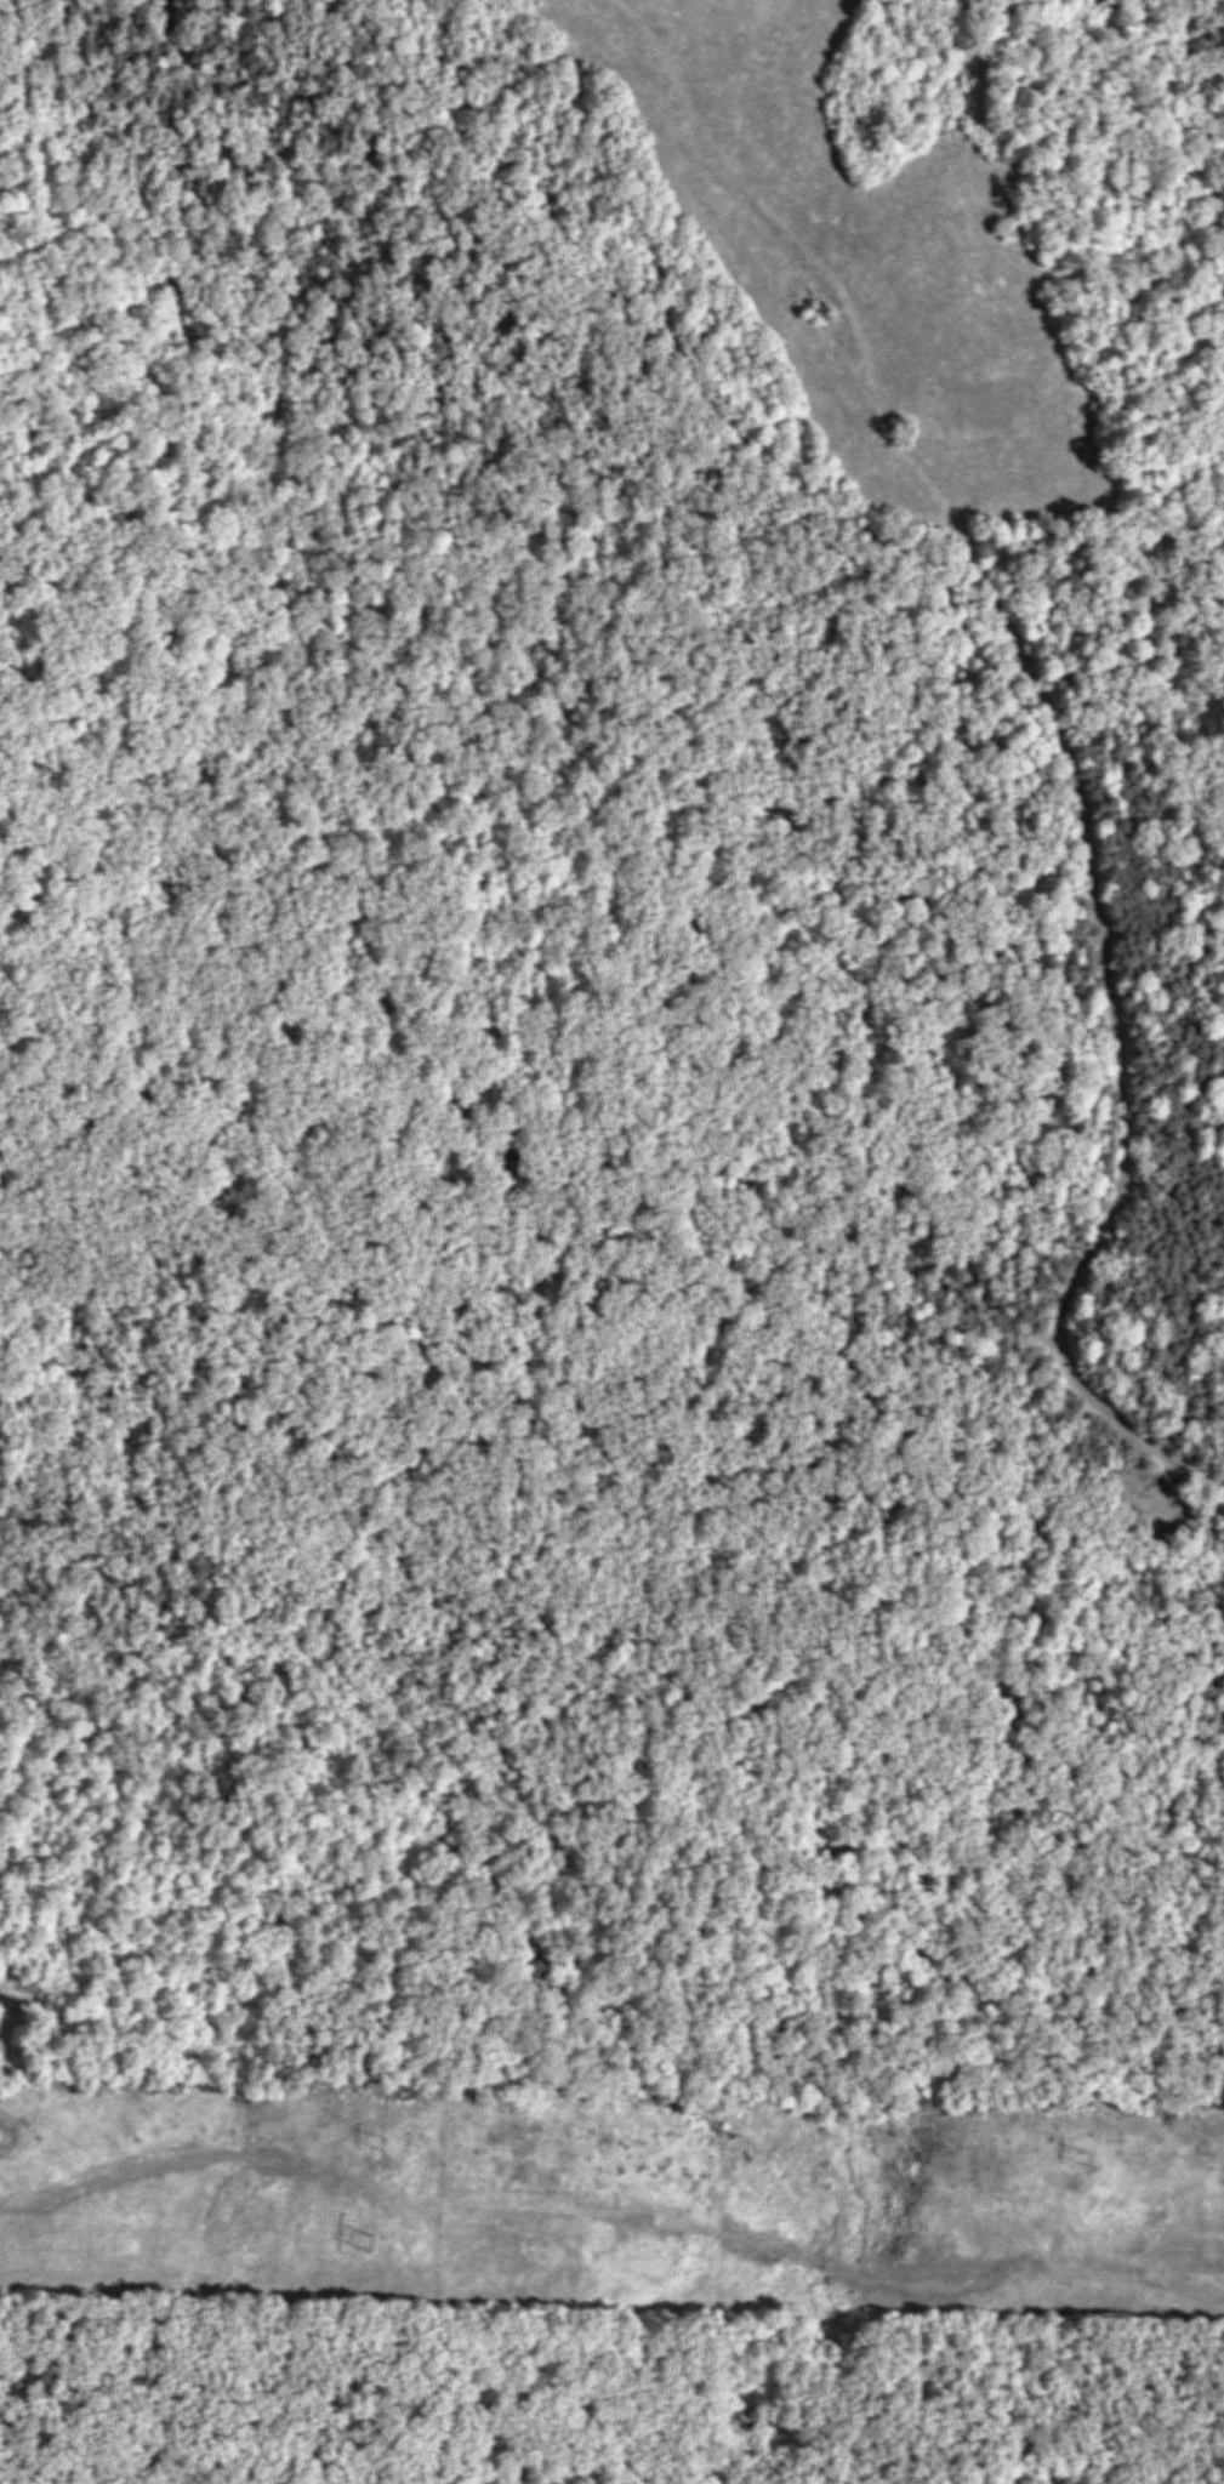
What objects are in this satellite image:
power tower: (405, 2141)
power tower: (1058, 2164)
power tower: (369, 2243)

